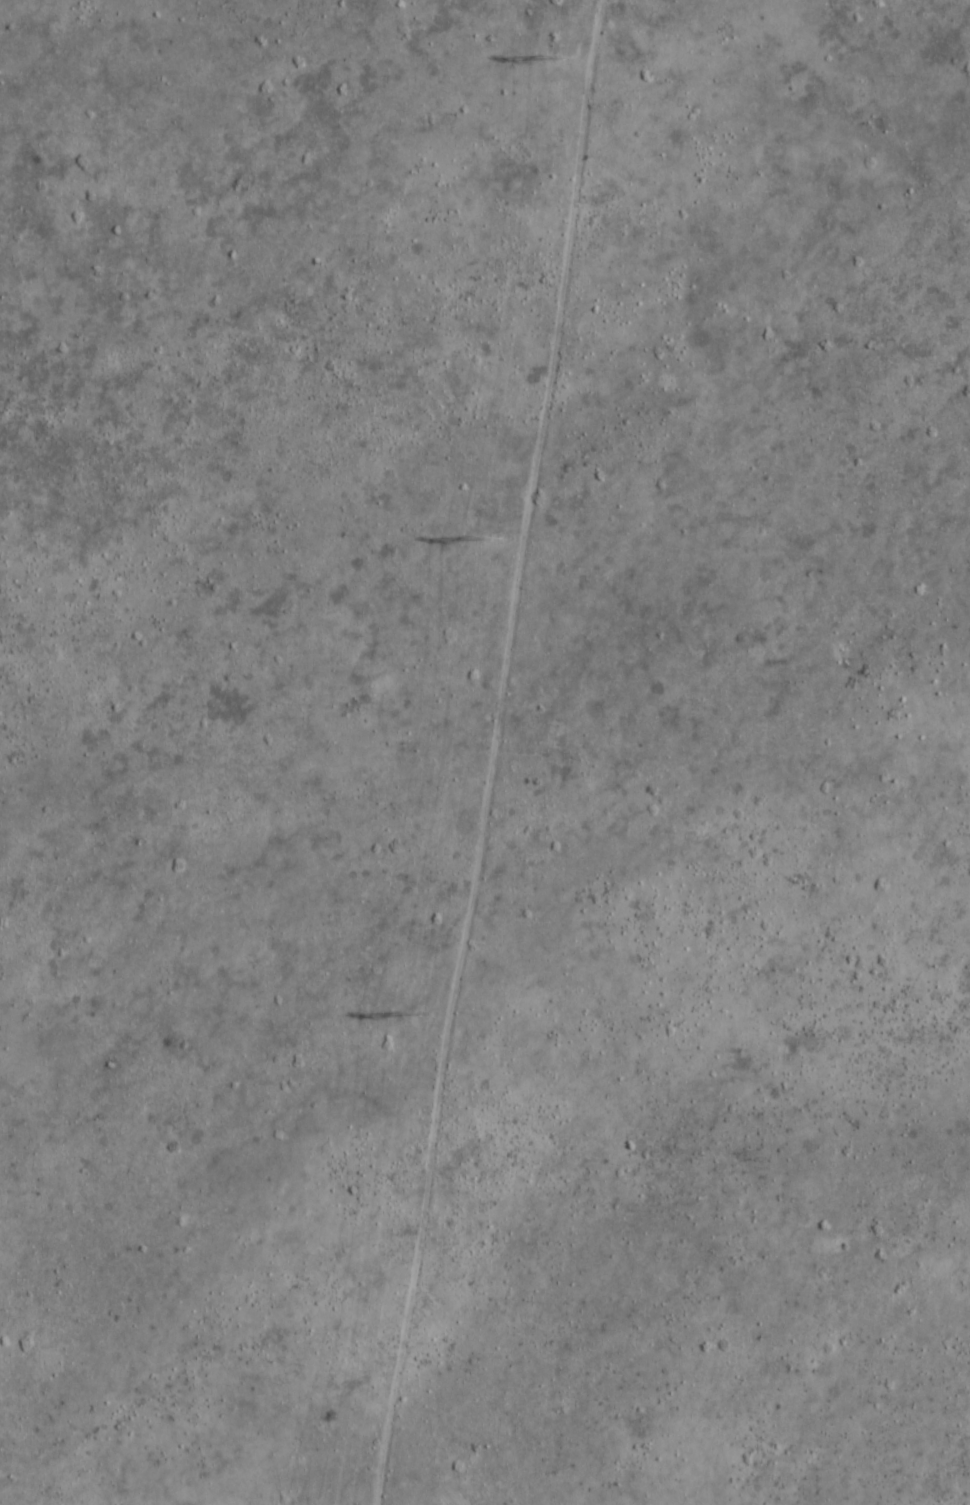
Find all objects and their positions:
power tower: (568, 57)
power tower: (497, 537)
power tower: (423, 1013)

